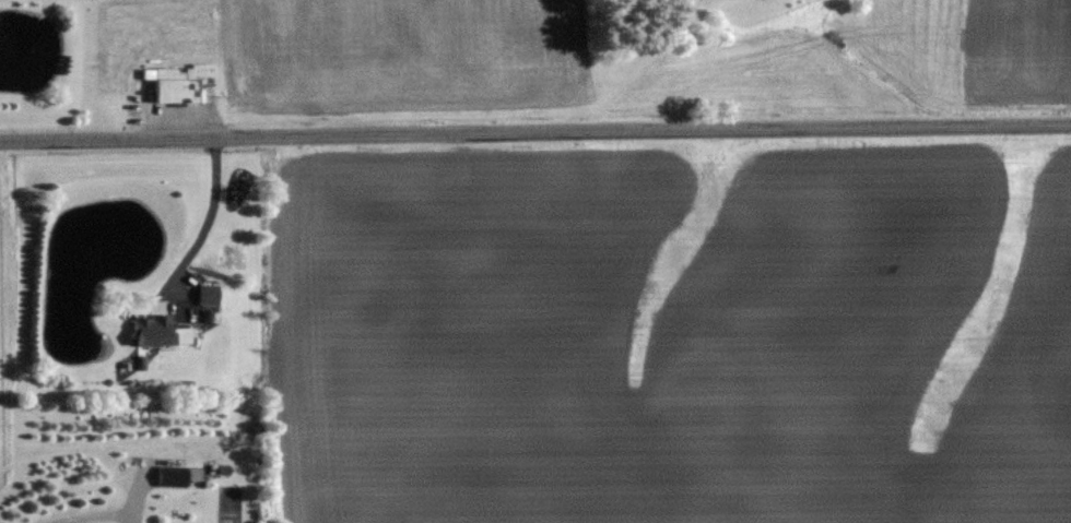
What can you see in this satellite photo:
building: (177, 82)
road: (534, 131)
road: (208, 225)
building: (209, 293)
building: (151, 329)
building: (172, 475)
road: (98, 518)

